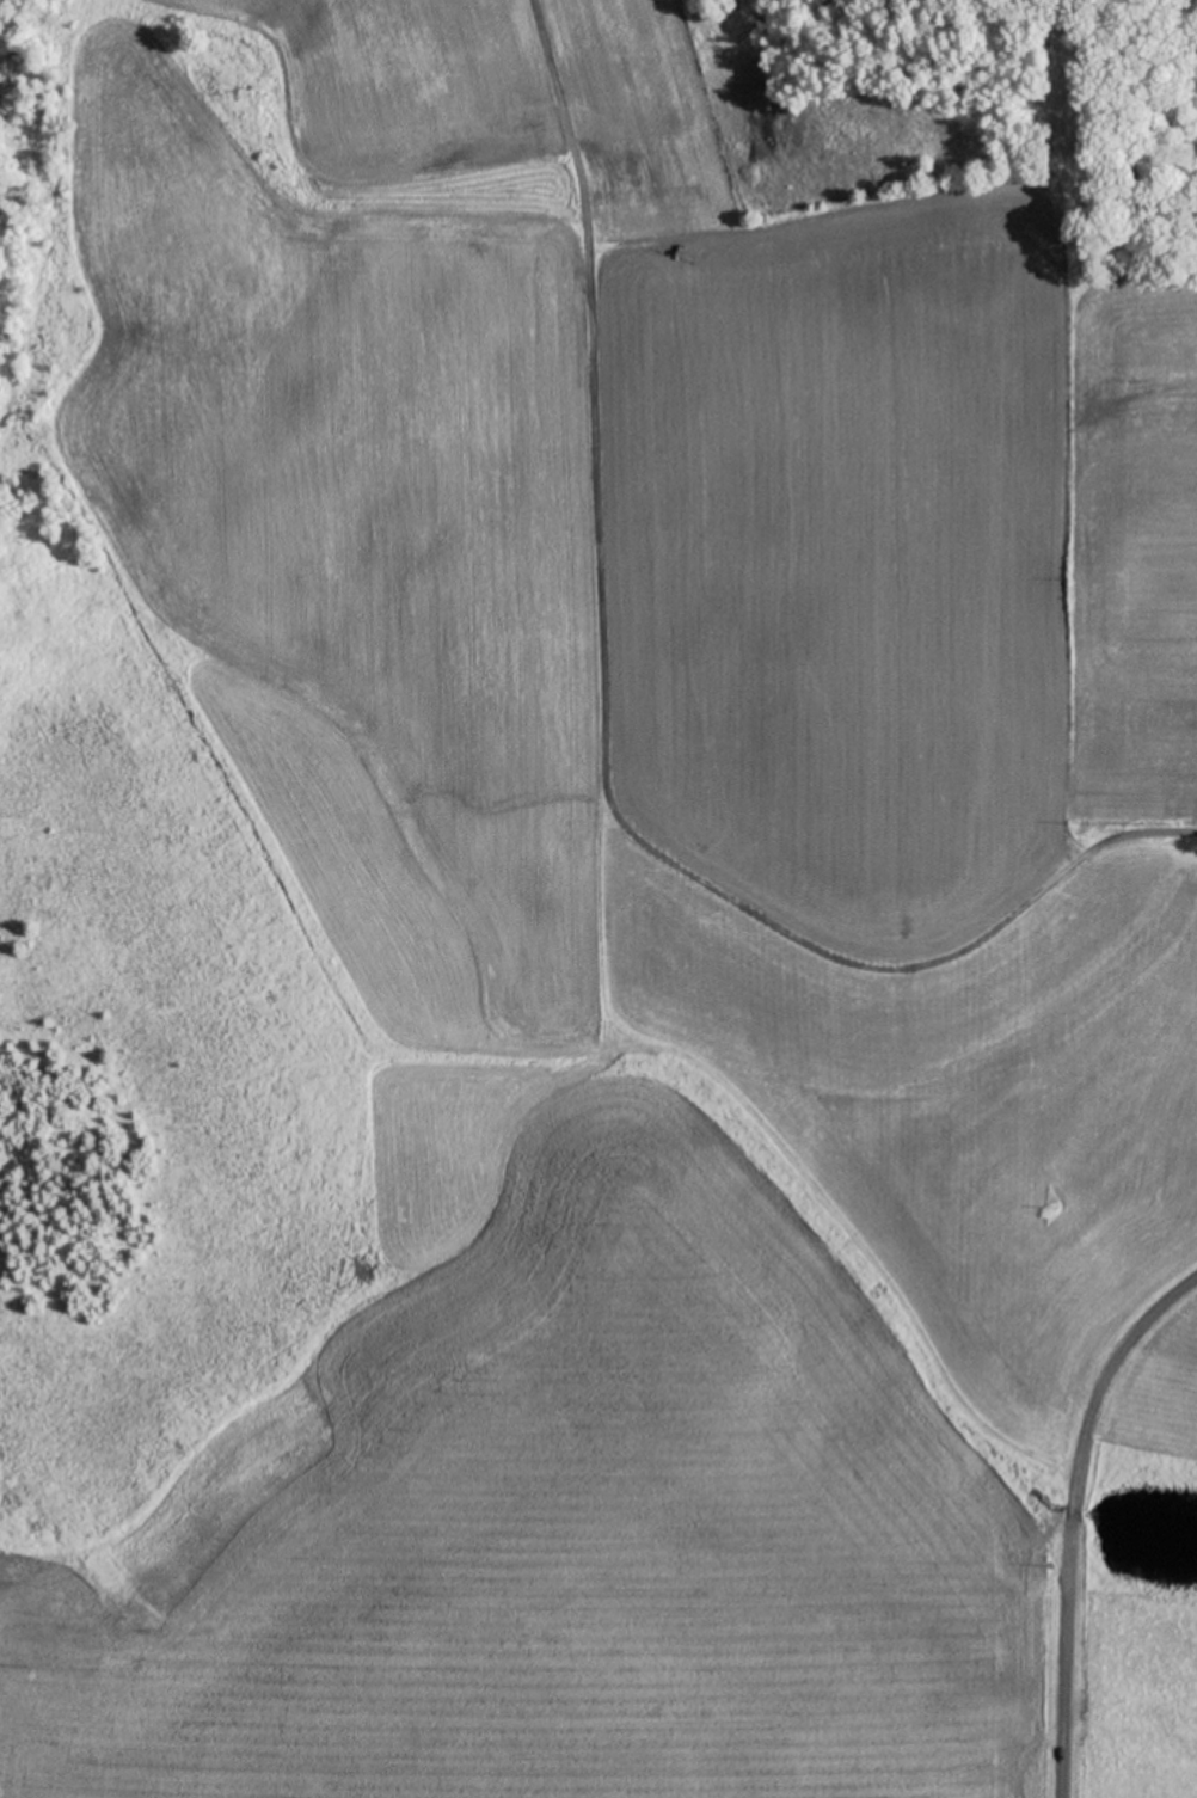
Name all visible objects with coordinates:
road: (1122, 1518)

